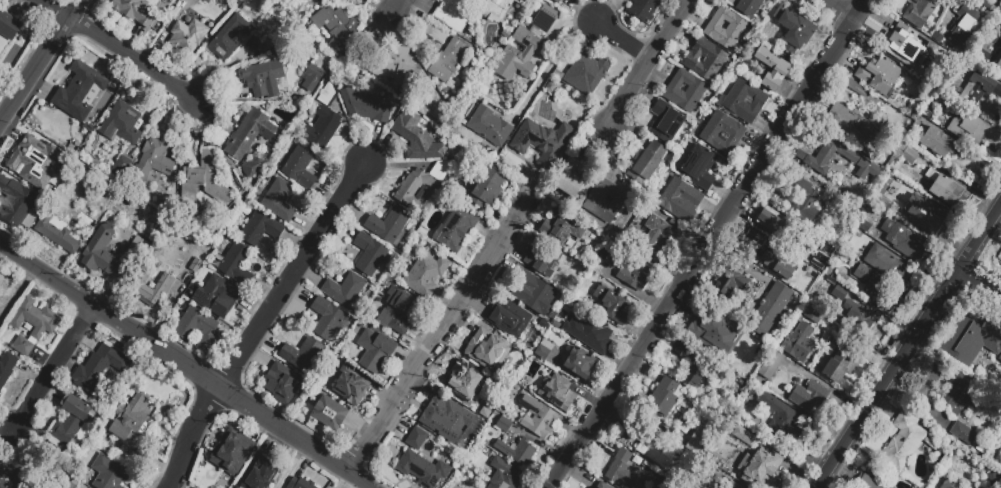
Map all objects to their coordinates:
building: (201, 0)
building: (558, 2)
building: (747, 7)
road: (400, 9)
building: (501, 9)
building: (643, 10)
road: (841, 10)
building: (134, 11)
building: (778, 11)
building: (922, 13)
building: (452, 15)
building: (970, 17)
building: (548, 18)
building: (8, 27)
building: (726, 30)
building: (337, 32)
building: (436, 33)
building: (796, 34)
building: (965, 37)
building: (188, 39)
building: (893, 39)
building: (230, 40)
road: (627, 40)
building: (255, 47)
road: (117, 49)
building: (928, 54)
building: (517, 56)
road: (555, 59)
road: (39, 62)
building: (451, 62)
building: (706, 62)
road: (656, 63)
building: (998, 63)
building: (396, 65)
building: (772, 71)
building: (587, 74)
building: (558, 75)
building: (886, 77)
building: (312, 78)
building: (263, 80)
building: (551, 87)
building: (978, 88)
building: (855, 89)
building: (686, 93)
building: (81, 94)
building: (328, 97)
building: (745, 103)
building: (366, 108)
building: (666, 124)
building: (123, 126)
building: (490, 129)
building: (323, 131)
building: (852, 131)
building: (975, 134)
building: (723, 135)
building: (251, 136)
building: (417, 140)
building: (542, 141)
building: (938, 144)
building: (906, 156)
building: (33, 160)
building: (154, 162)
building: (817, 162)
building: (648, 165)
building: (122, 169)
building: (700, 169)
building: (300, 170)
building: (251, 171)
building: (441, 172)
building: (204, 183)
building: (573, 183)
building: (23, 184)
building: (488, 190)
building: (414, 191)
building: (946, 192)
building: (883, 199)
building: (804, 201)
building: (280, 202)
building: (681, 202)
building: (606, 203)
building: (932, 216)
building: (770, 220)
building: (675, 223)
building: (864, 227)
building: (388, 228)
building: (260, 229)
building: (563, 229)
building: (59, 235)
building: (754, 236)
building: (455, 237)
building: (655, 242)
building: (748, 242)
road: (709, 244)
building: (910, 247)
building: (138, 251)
building: (101, 252)
building: (822, 252)
building: (372, 257)
building: (545, 262)
building: (614, 262)
building: (196, 265)
building: (780, 265)
building: (236, 267)
building: (887, 267)
building: (428, 272)
building: (829, 272)
road: (293, 277)
building: (636, 278)
road: (980, 284)
building: (728, 288)
building: (139, 290)
road: (18, 291)
building: (874, 291)
building: (346, 293)
building: (218, 294)
building: (840, 295)
building: (543, 300)
building: (612, 304)
building: (772, 310)
road: (3, 313)
building: (814, 317)
building: (859, 317)
building: (399, 318)
building: (510, 320)
building: (328, 321)
building: (194, 325)
building: (34, 326)
building: (358, 327)
building: (375, 329)
building: (712, 332)
road: (445, 336)
building: (597, 338)
building: (968, 342)
building: (797, 343)
building: (486, 347)
building: (547, 347)
road: (909, 347)
building: (742, 348)
building: (376, 352)
building: (542, 354)
building: (303, 357)
building: (580, 362)
road: (185, 367)
building: (772, 367)
building: (697, 368)
building: (841, 368)
building: (100, 370)
building: (7, 371)
road: (55, 372)
building: (743, 374)
building: (462, 380)
building: (282, 383)
building: (350, 388)
building: (557, 391)
building: (961, 396)
building: (666, 398)
building: (0, 399)
building: (809, 399)
building: (330, 415)
building: (134, 416)
building: (439, 417)
building: (538, 419)
building: (780, 421)
building: (71, 423)
building: (505, 427)
building: (705, 430)
building: (964, 436)
road: (196, 439)
building: (746, 439)
building: (417, 441)
building: (904, 444)
building: (651, 449)
building: (133, 453)
building: (518, 454)
building: (234, 459)
building: (760, 469)
building: (624, 470)
building: (423, 471)
building: (264, 473)
building: (110, 474)
building: (505, 476)
building: (867, 483)
building: (3, 485)
building: (301, 485)
building: (727, 485)
building: (949, 485)
building: (604, 486)

